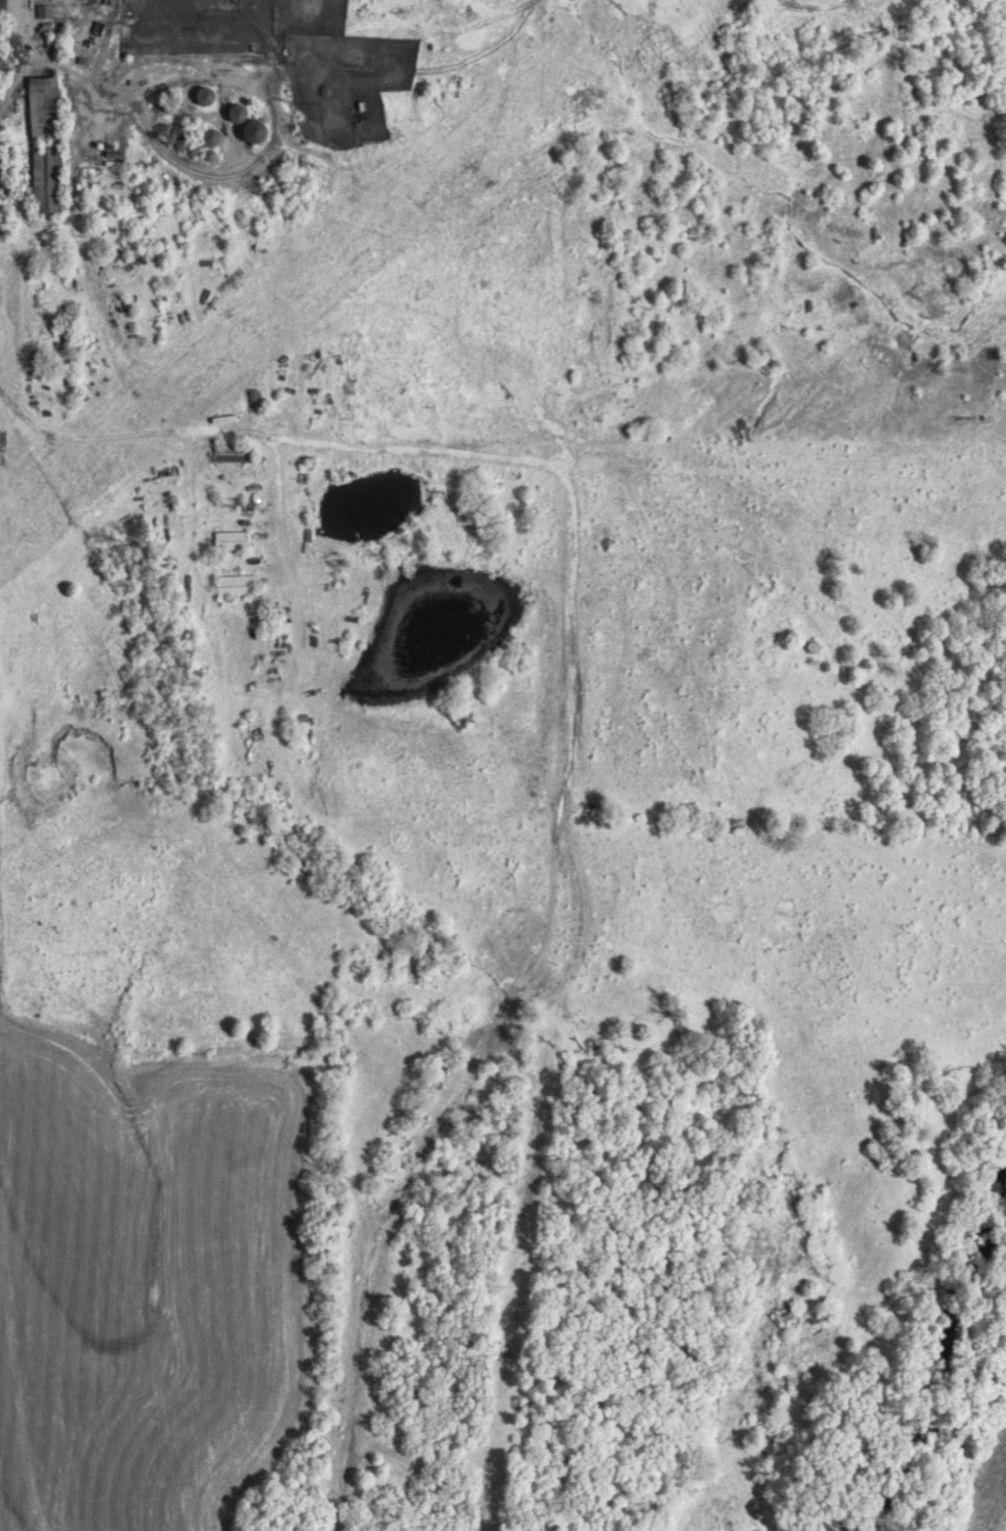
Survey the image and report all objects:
building: (41, 12)
road: (31, 57)
road: (74, 81)
building: (201, 95)
building: (232, 112)
building: (247, 130)
building: (205, 136)
building: (41, 145)
building: (204, 154)
building: (282, 163)
building: (230, 453)
building: (227, 541)
building: (233, 586)

